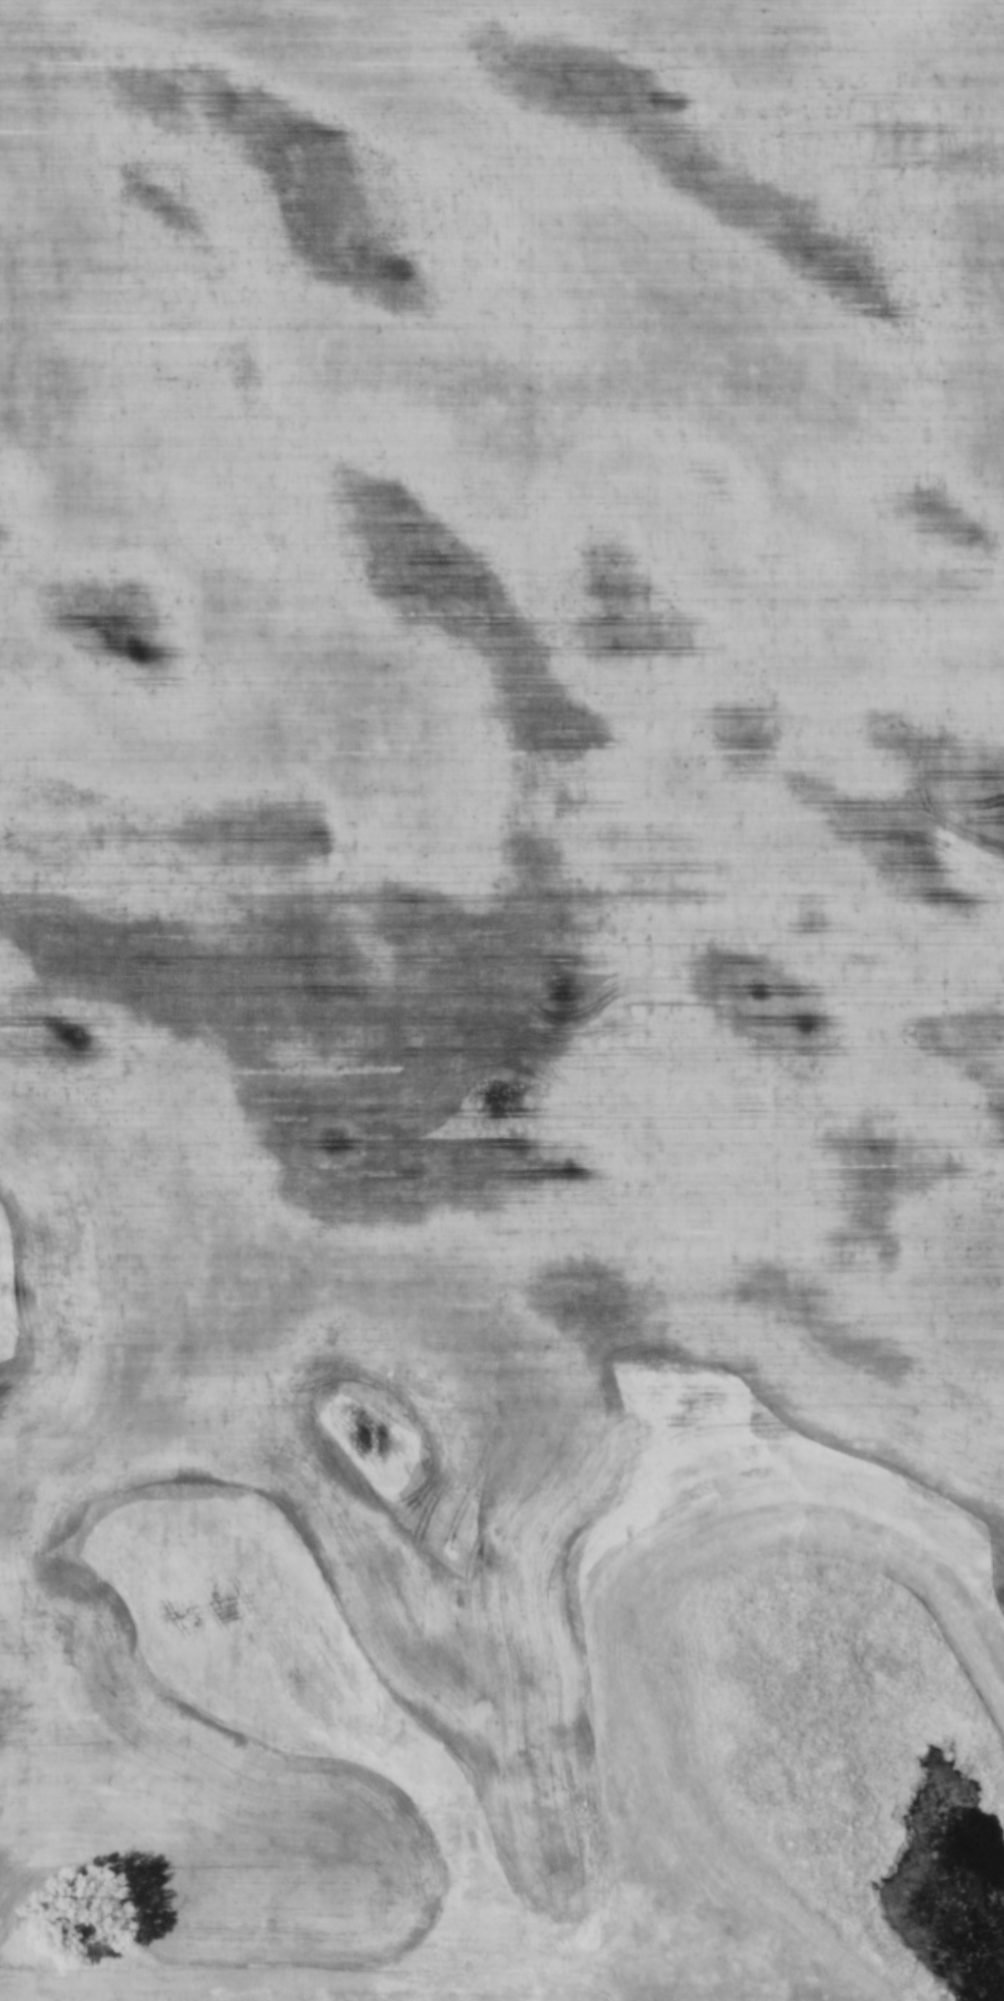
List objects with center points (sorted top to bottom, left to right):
building: (670, 311)

